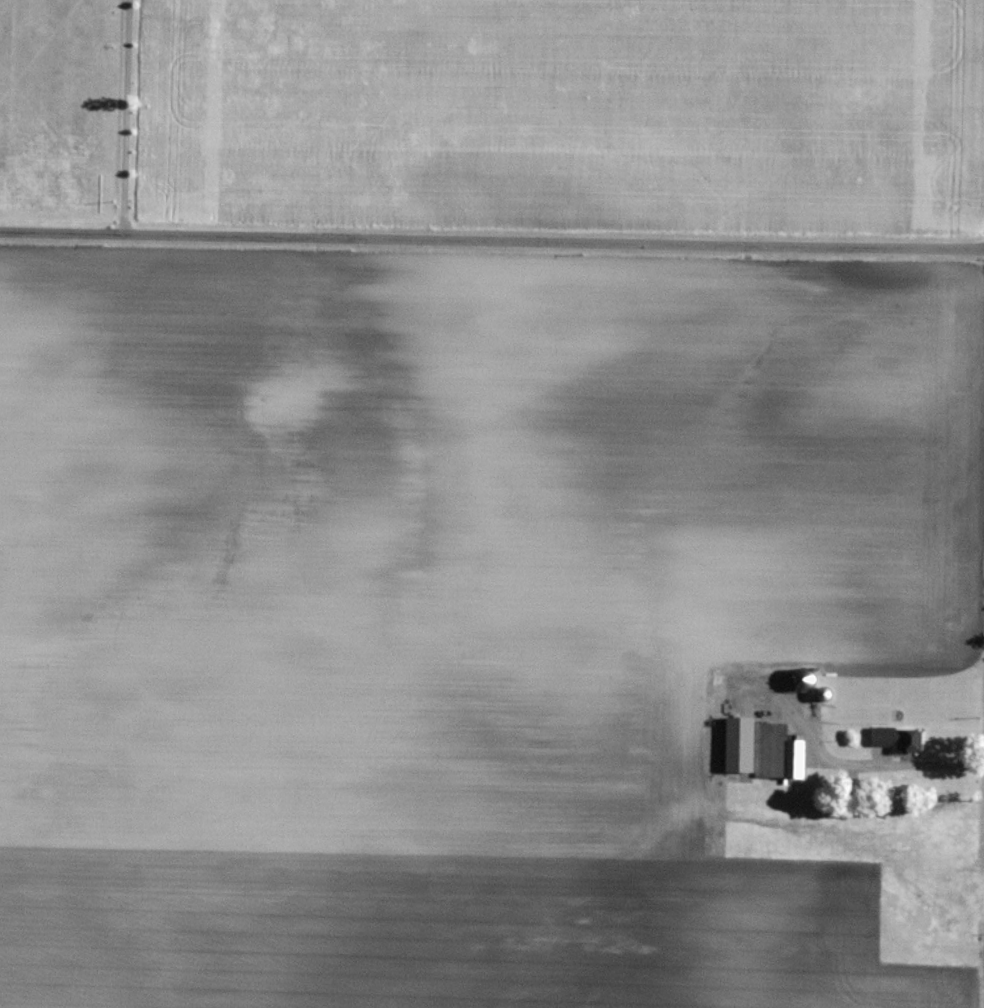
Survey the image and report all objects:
road: (491, 239)

